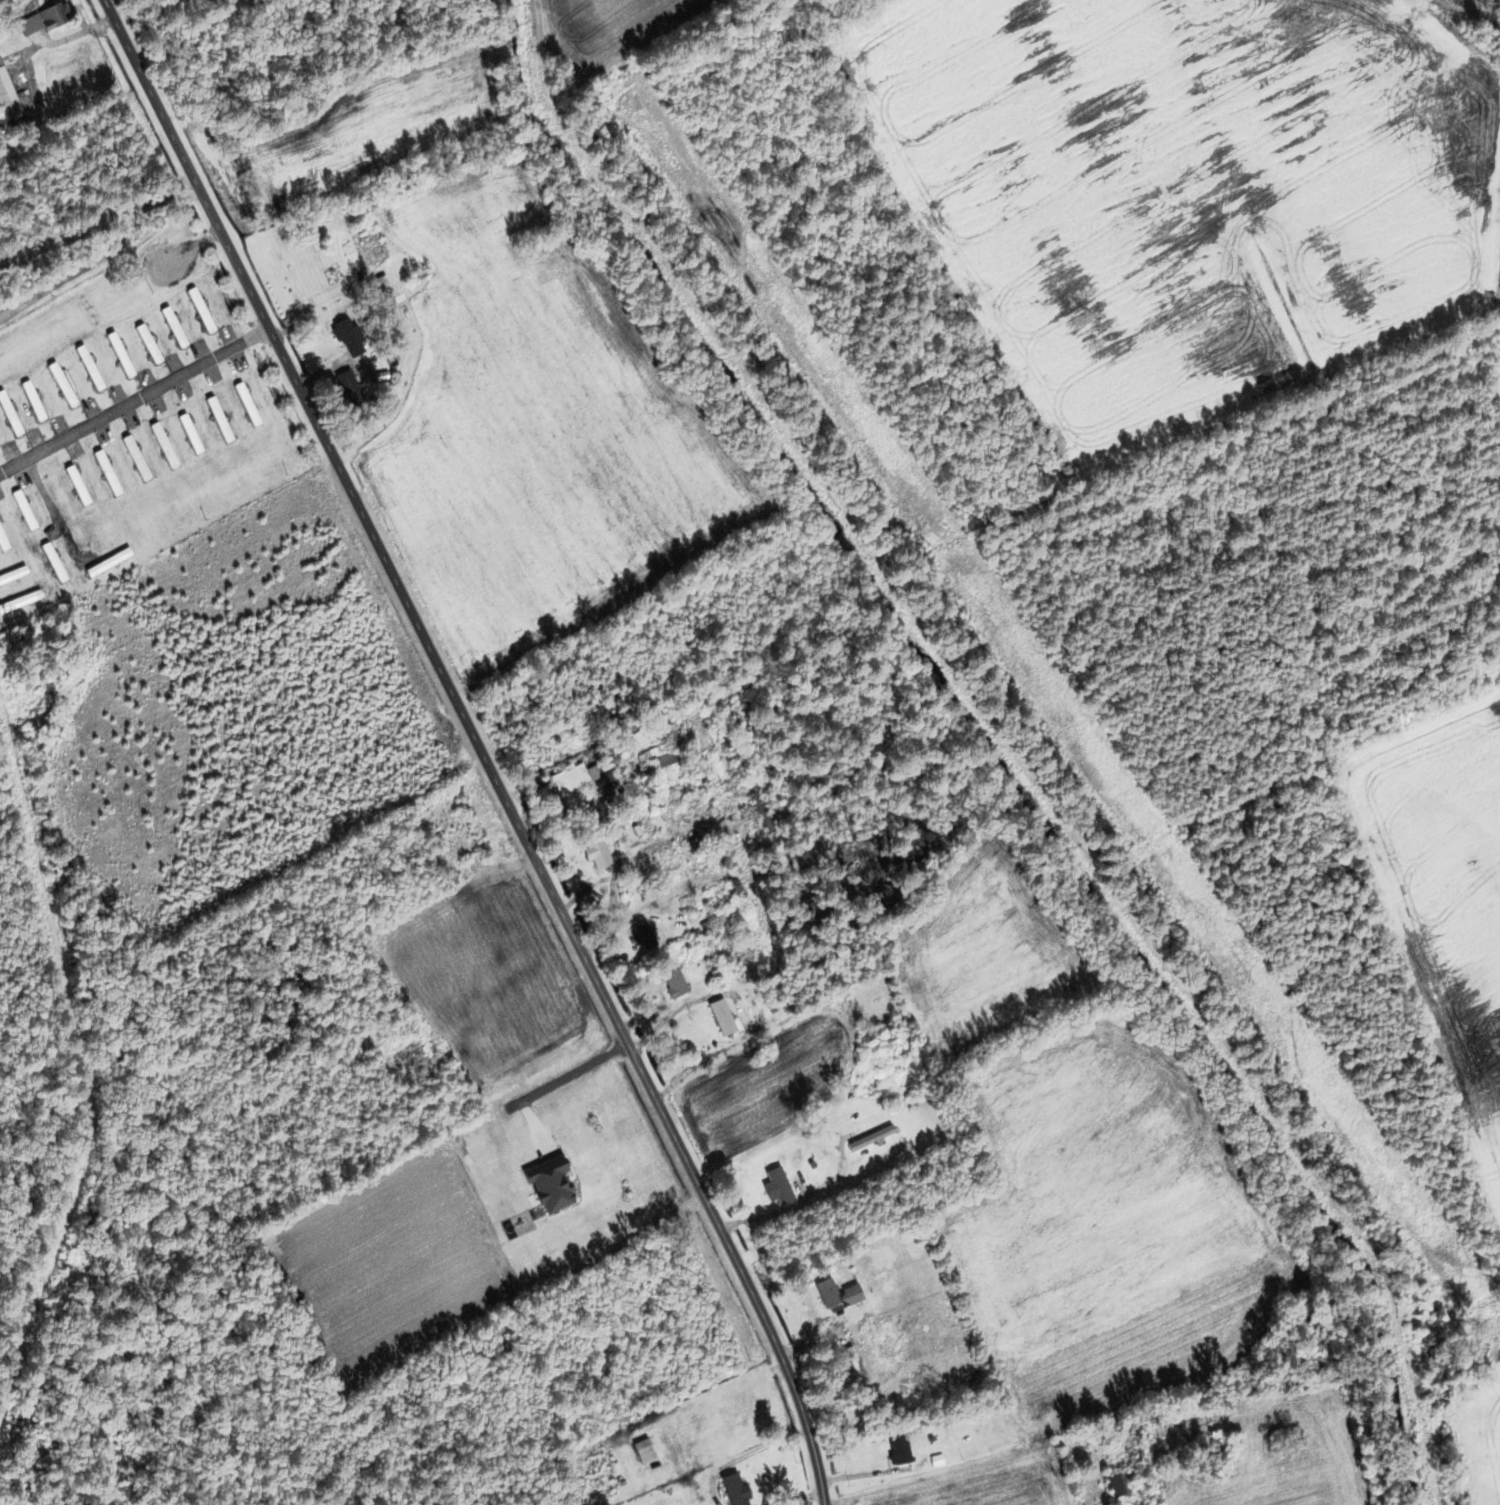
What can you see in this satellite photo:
building: (40, 21)
building: (6, 99)
building: (199, 310)
building: (172, 326)
building: (348, 338)
building: (147, 343)
building: (118, 354)
building: (88, 367)
building: (61, 385)
building: (348, 388)
building: (183, 391)
road: (134, 398)
building: (31, 400)
building: (246, 404)
building: (9, 417)
building: (217, 419)
building: (130, 420)
building: (189, 433)
building: (162, 445)
building: (73, 451)
building: (135, 458)
building: (106, 473)
building: (76, 485)
building: (23, 510)
building: (2, 544)
building: (52, 562)
building: (106, 562)
building: (12, 574)
building: (20, 601)
road: (478, 747)
building: (658, 758)
building: (570, 784)
building: (636, 790)
building: (761, 813)
building: (596, 852)
building: (724, 916)
building: (673, 983)
building: (721, 1017)
building: (870, 1138)
building: (776, 1186)
building: (836, 1295)
building: (854, 1364)
building: (643, 1451)
building: (898, 1451)
building: (1116, 1485)
building: (734, 1490)

